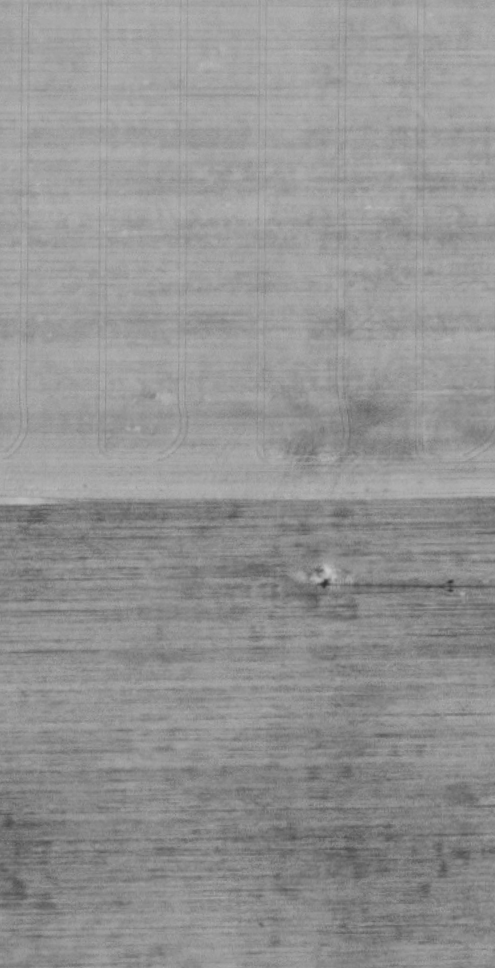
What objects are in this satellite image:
crop: (247, 484)

